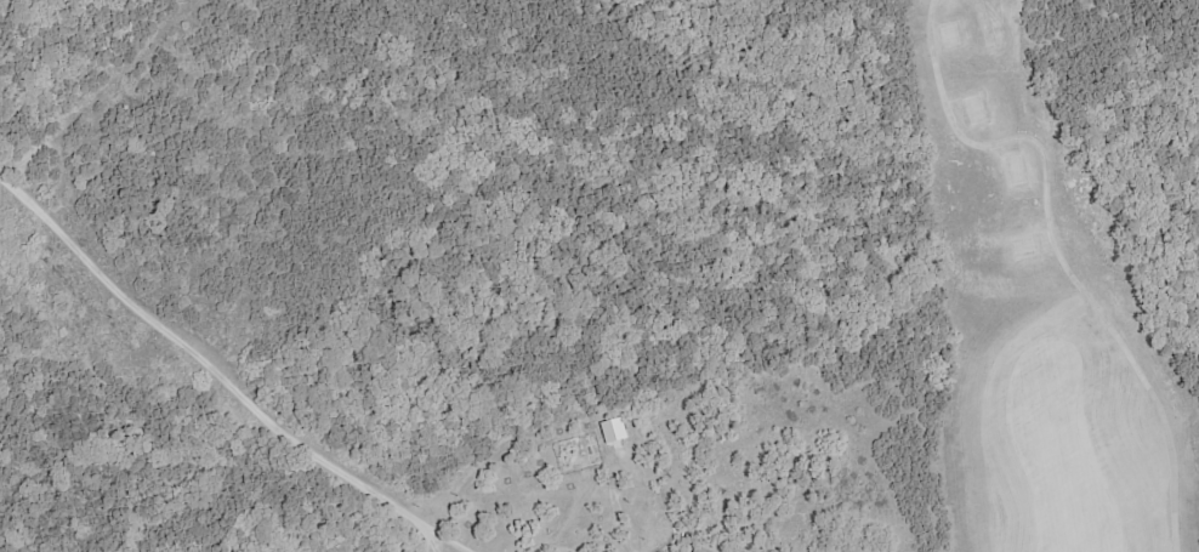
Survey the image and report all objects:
road: (1056, 250)
road: (225, 377)
building: (612, 431)

